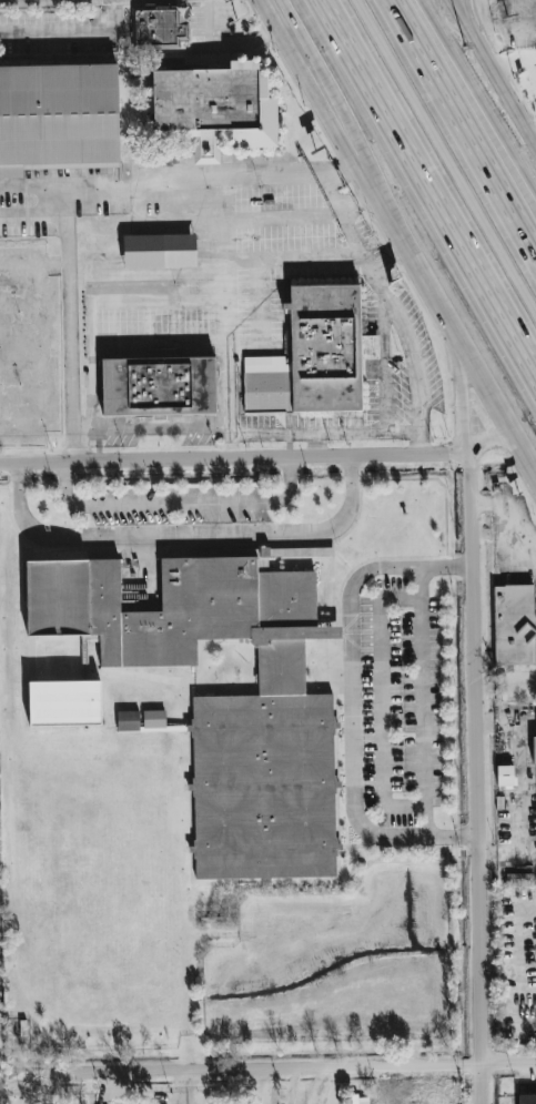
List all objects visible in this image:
road: (61, 1)
road: (467, 13)
building: (155, 27)
road: (220, 44)
road: (523, 54)
road: (495, 69)
road: (527, 70)
road: (479, 92)
building: (211, 102)
road: (323, 104)
road: (332, 104)
road: (528, 109)
road: (471, 115)
building: (58, 118)
road: (449, 148)
road: (335, 173)
road: (260, 174)
road: (171, 176)
road: (31, 188)
road: (98, 191)
road: (425, 199)
road: (213, 203)
road: (352, 203)
road: (42, 213)
road: (277, 219)
building: (158, 251)
road: (250, 276)
road: (70, 318)
road: (459, 344)
road: (191, 348)
building: (322, 357)
road: (413, 359)
road: (87, 362)
building: (165, 386)
road: (227, 387)
road: (472, 408)
road: (160, 427)
road: (232, 432)
road: (366, 432)
road: (263, 435)
road: (73, 443)
road: (492, 444)
road: (236, 456)
road: (351, 475)
road: (290, 477)
road: (154, 504)
road: (161, 538)
building: (515, 627)
building: (231, 699)
road: (423, 700)
road: (354, 701)
building: (63, 703)
road: (381, 703)
building: (153, 719)
building: (128, 721)
building: (533, 750)
building: (504, 776)
road: (477, 778)
road: (507, 862)
building: (0, 1045)
road: (270, 1067)
road: (326, 1085)
building: (526, 1098)
building: (357, 1100)

